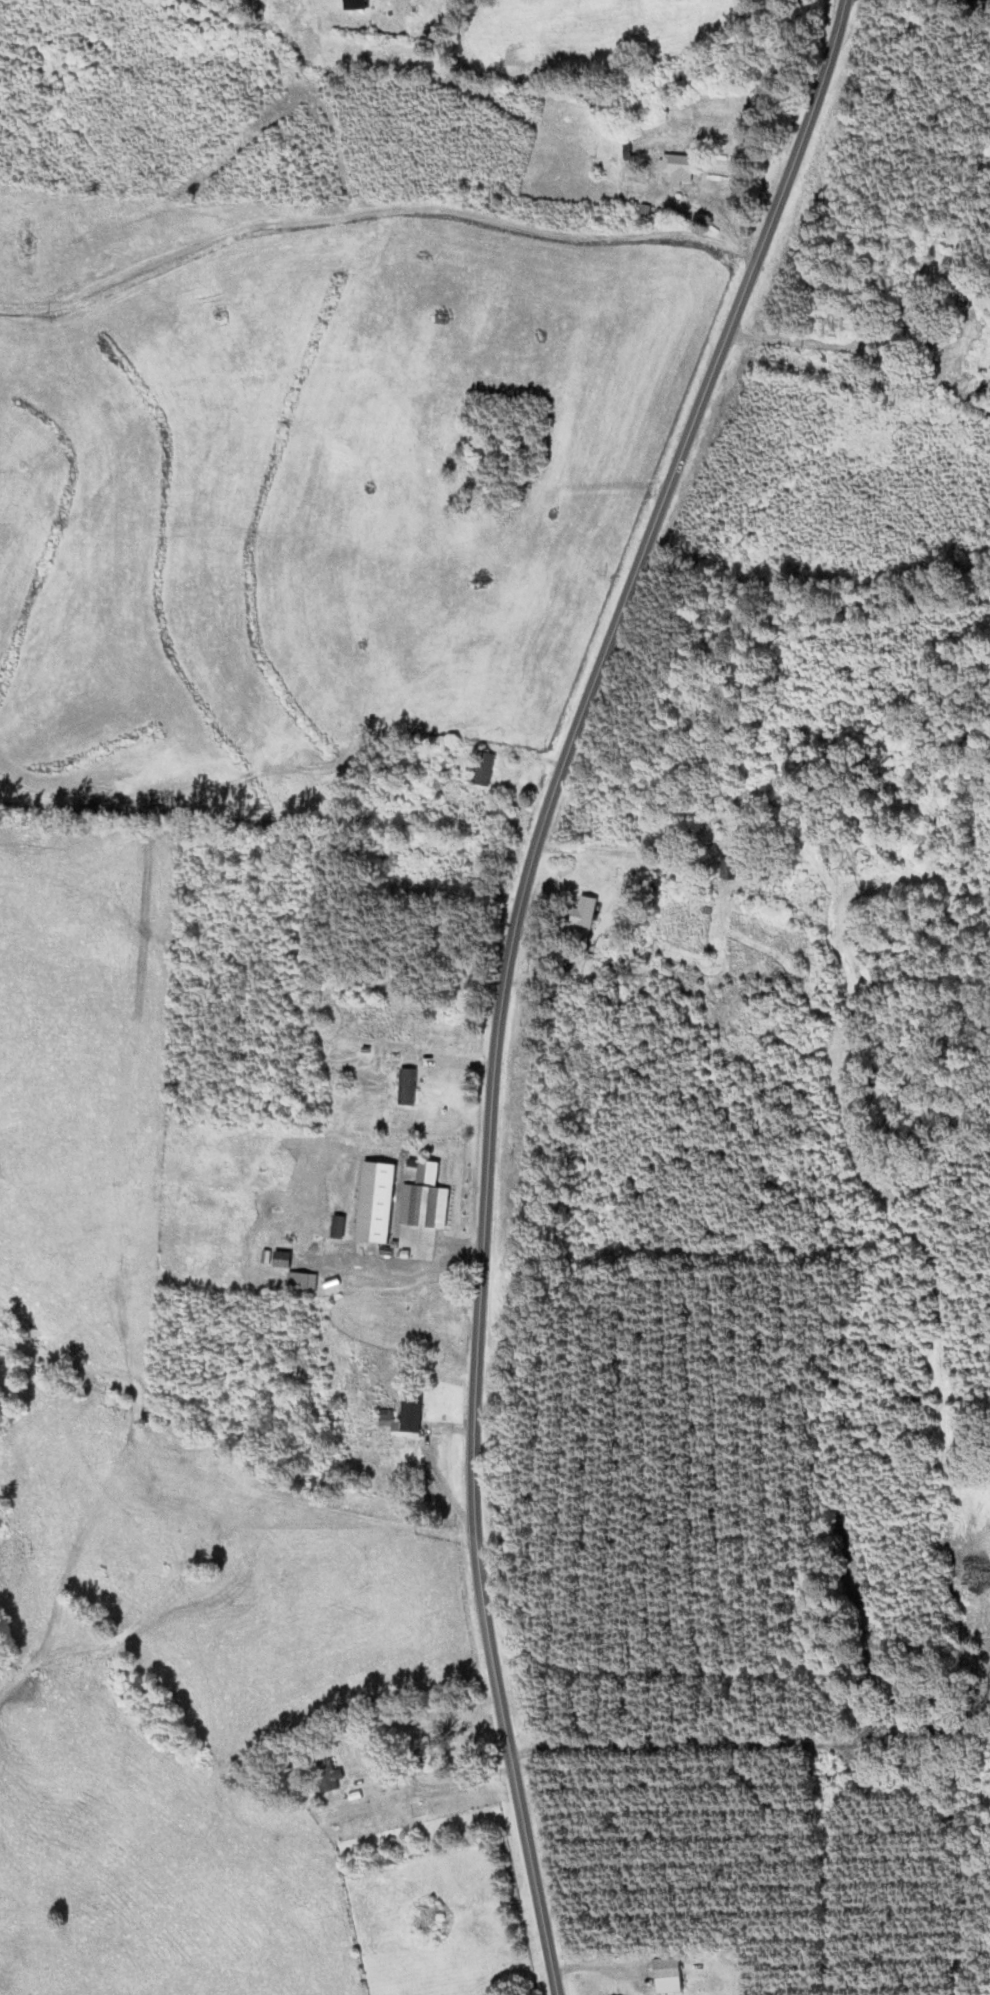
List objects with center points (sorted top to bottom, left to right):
building: (352, 5)
building: (675, 164)
road: (374, 213)
road: (814, 342)
building: (475, 450)
building: (482, 769)
building: (441, 770)
building: (428, 807)
building: (474, 811)
building: (728, 869)
building: (454, 870)
building: (582, 912)
road: (506, 972)
building: (405, 1087)
building: (415, 1205)
building: (401, 1415)
building: (425, 1753)
building: (326, 1776)
road: (446, 1784)
building: (664, 1968)

